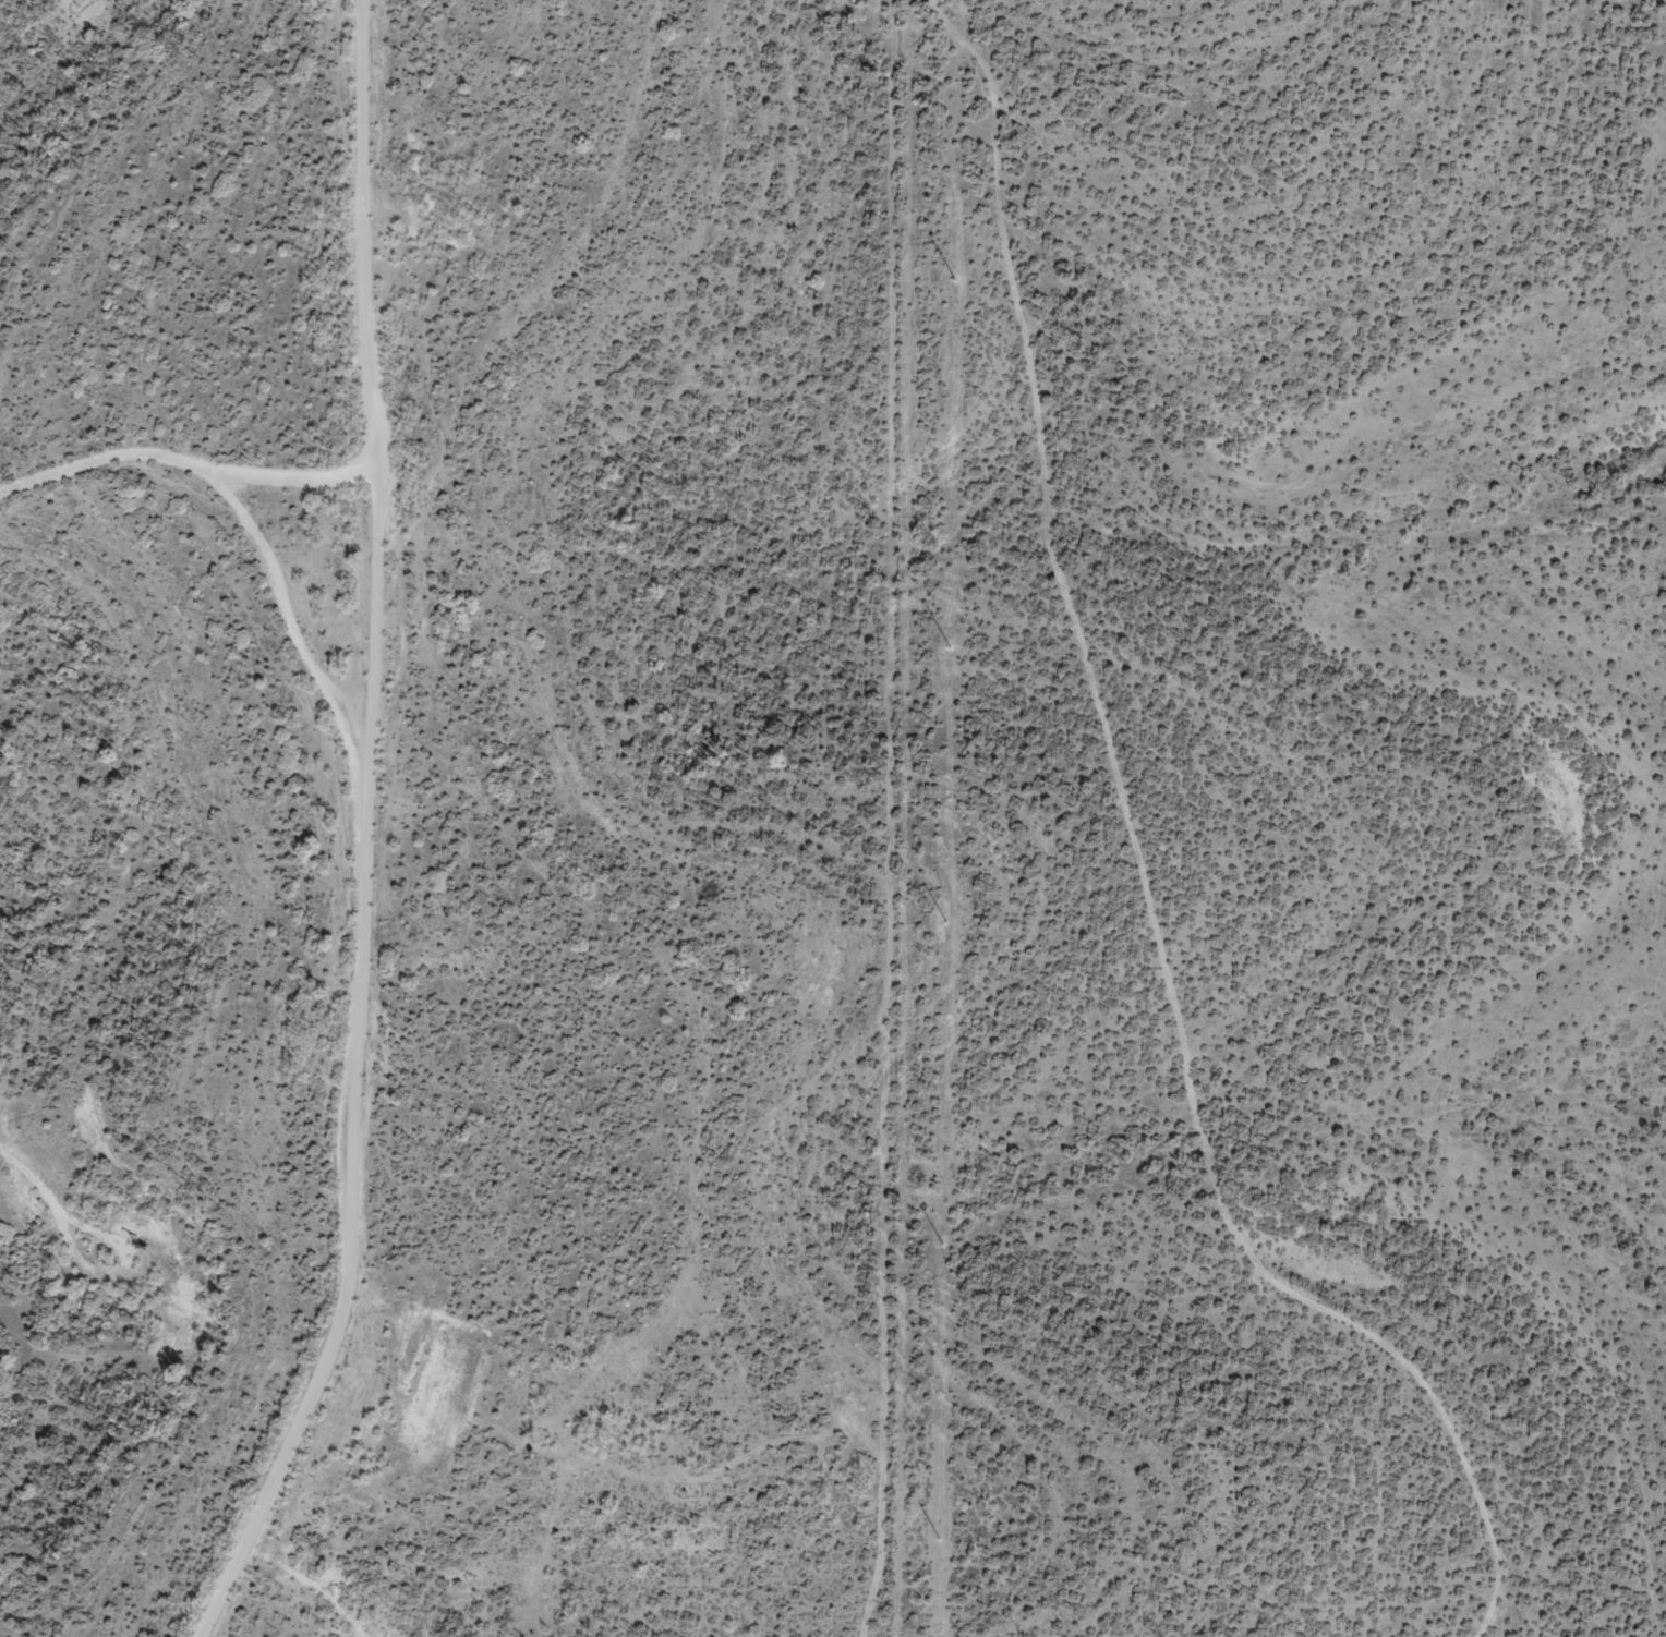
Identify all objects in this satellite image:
road: (15, 5)
power tower: (953, 280)
road: (241, 539)
power tower: (947, 650)
road: (394, 825)
power tower: (943, 921)
power tower: (942, 1242)
power tower: (935, 1537)

